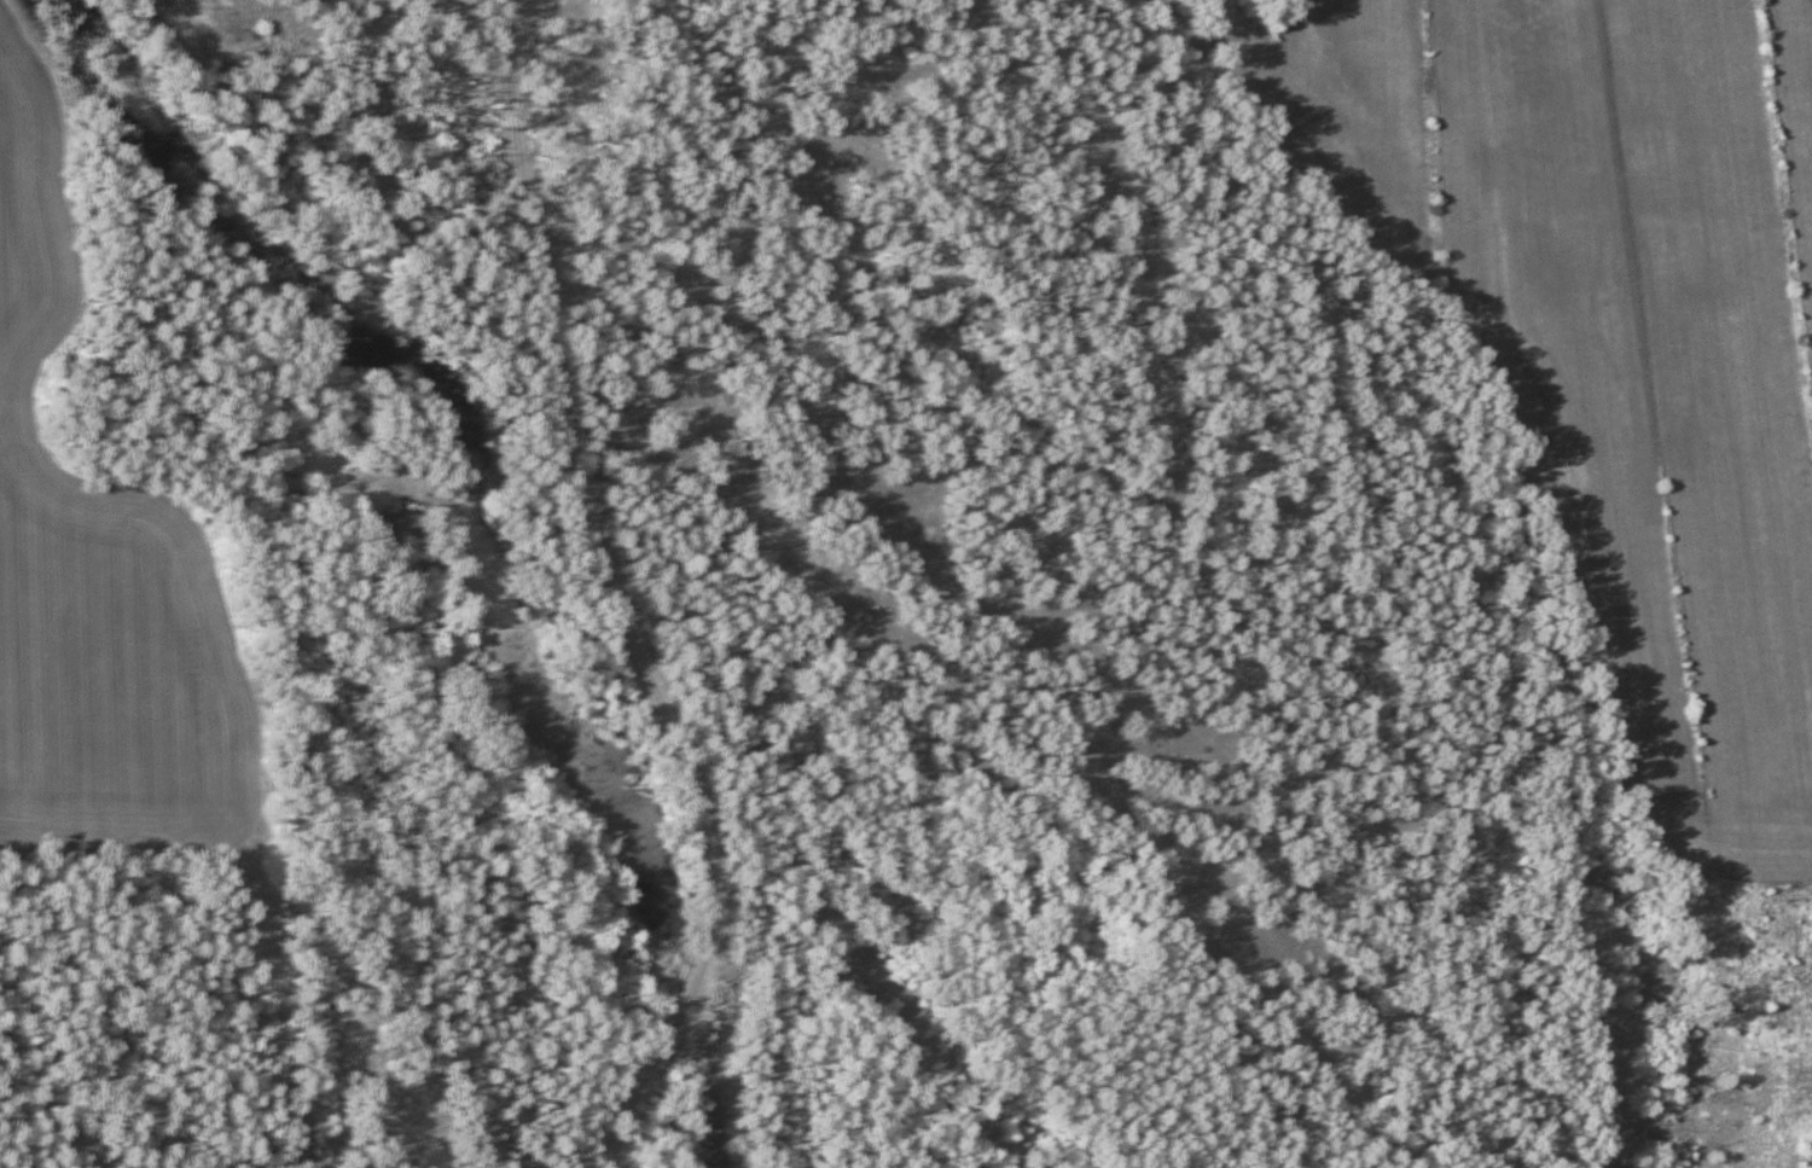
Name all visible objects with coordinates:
road: (610, 595)

